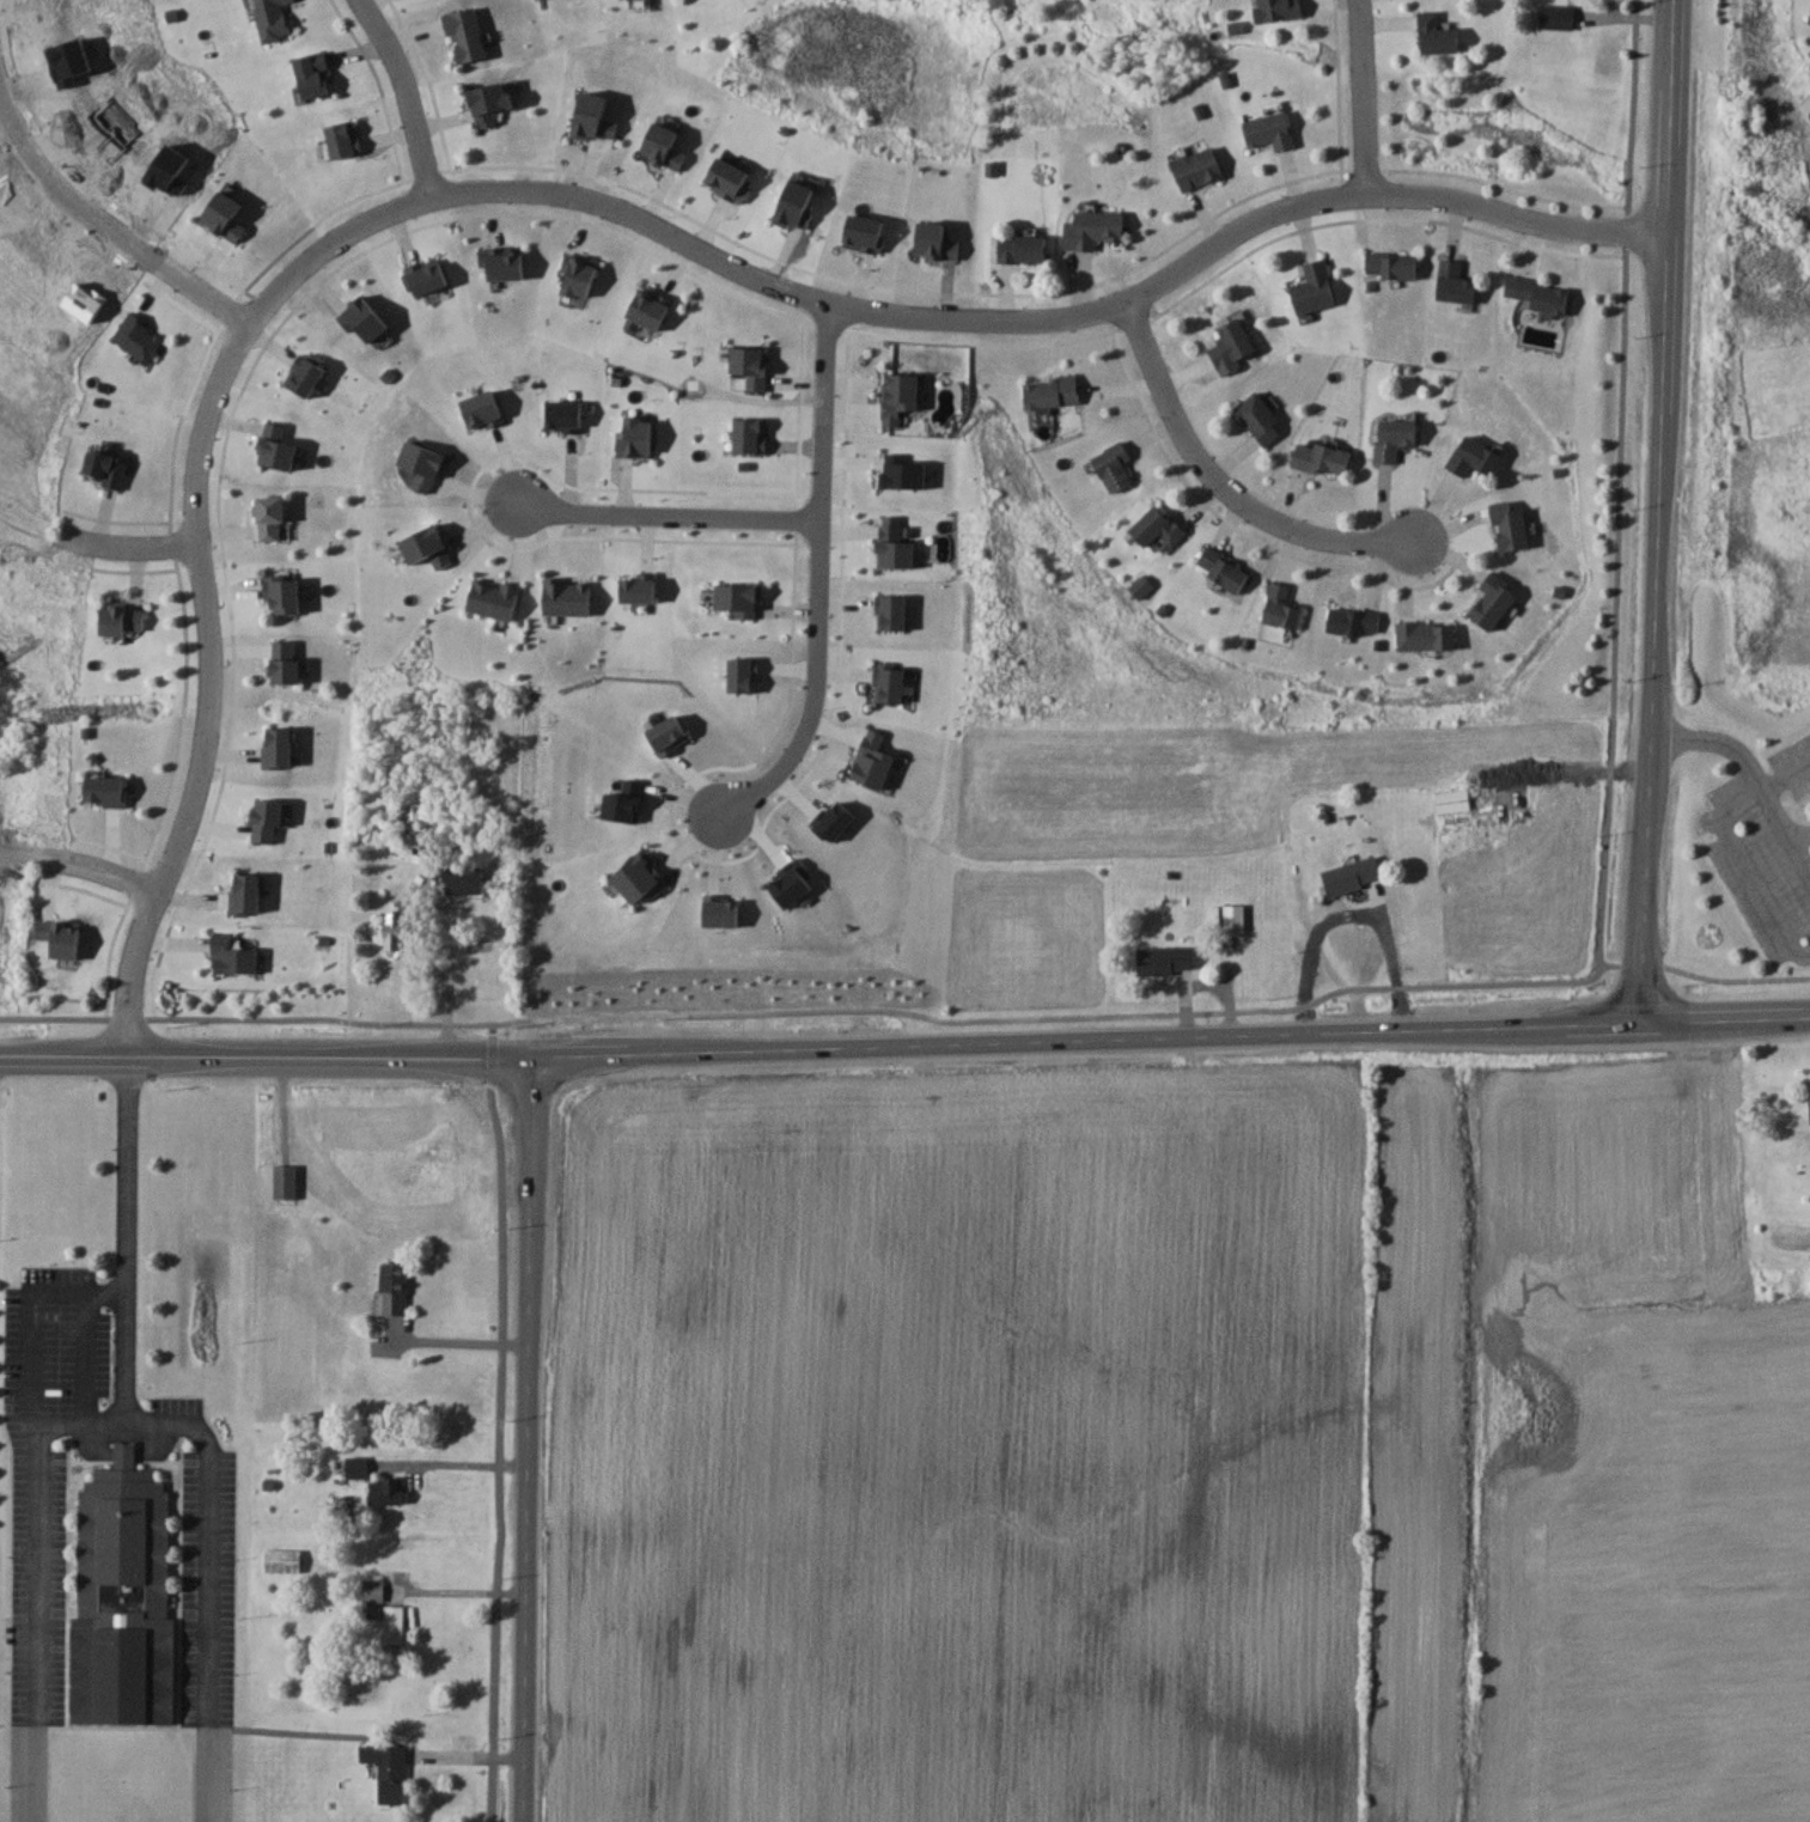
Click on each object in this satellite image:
building: (1279, 10)
building: (1556, 16)
building: (272, 19)
building: (1809, 19)
building: (465, 35)
building: (1437, 35)
building: (313, 74)
road: (407, 93)
road: (1364, 96)
building: (1270, 129)
building: (1197, 167)
road: (586, 201)
road: (109, 228)
building: (1093, 228)
building: (1023, 248)
building: (1391, 264)
building: (1455, 282)
building: (1315, 286)
building: (1540, 293)
building: (139, 337)
building: (1232, 346)
building: (1050, 391)
building: (1260, 416)
building: (28, 435)
building: (1395, 438)
building: (276, 446)
building: (1474, 457)
building: (1322, 458)
building: (1114, 465)
building: (105, 468)
road: (1615, 481)
road: (1217, 483)
road: (1664, 510)
road: (666, 514)
building: (1158, 526)
building: (1510, 526)
road: (93, 546)
building: (1223, 568)
road: (816, 578)
building: (282, 593)
building: (1494, 601)
building: (1281, 607)
building: (45, 613)
building: (122, 620)
building: (1353, 621)
building: (1426, 635)
building: (285, 662)
building: (278, 748)
parking lot: (1794, 763)
road: (1754, 770)
building: (105, 790)
building: (1452, 800)
building: (267, 822)
road: (1800, 833)
road: (1741, 848)
parking lot: (1757, 867)
road: (102, 872)
building: (1353, 875)
building: (463, 879)
building: (245, 894)
road: (1351, 909)
building: (1233, 918)
building: (397, 930)
building: (60, 937)
building: (231, 956)
building: (1166, 958)
road: (446, 974)
road: (913, 1013)
road: (1723, 1014)
road: (1084, 1038)
road: (266, 1055)
park: (1780, 1151)
building: (284, 1182)
building: (394, 1290)
road: (461, 1341)
road: (80, 1359)
road: (121, 1360)
road: (29, 1394)
road: (501, 1421)
road: (529, 1438)
road: (459, 1465)
building: (355, 1468)
building: (385, 1492)
road: (205, 1544)
building: (282, 1561)
building: (372, 1591)
road: (463, 1591)
building: (123, 1596)
building: (392, 1625)
building: (388, 1769)

